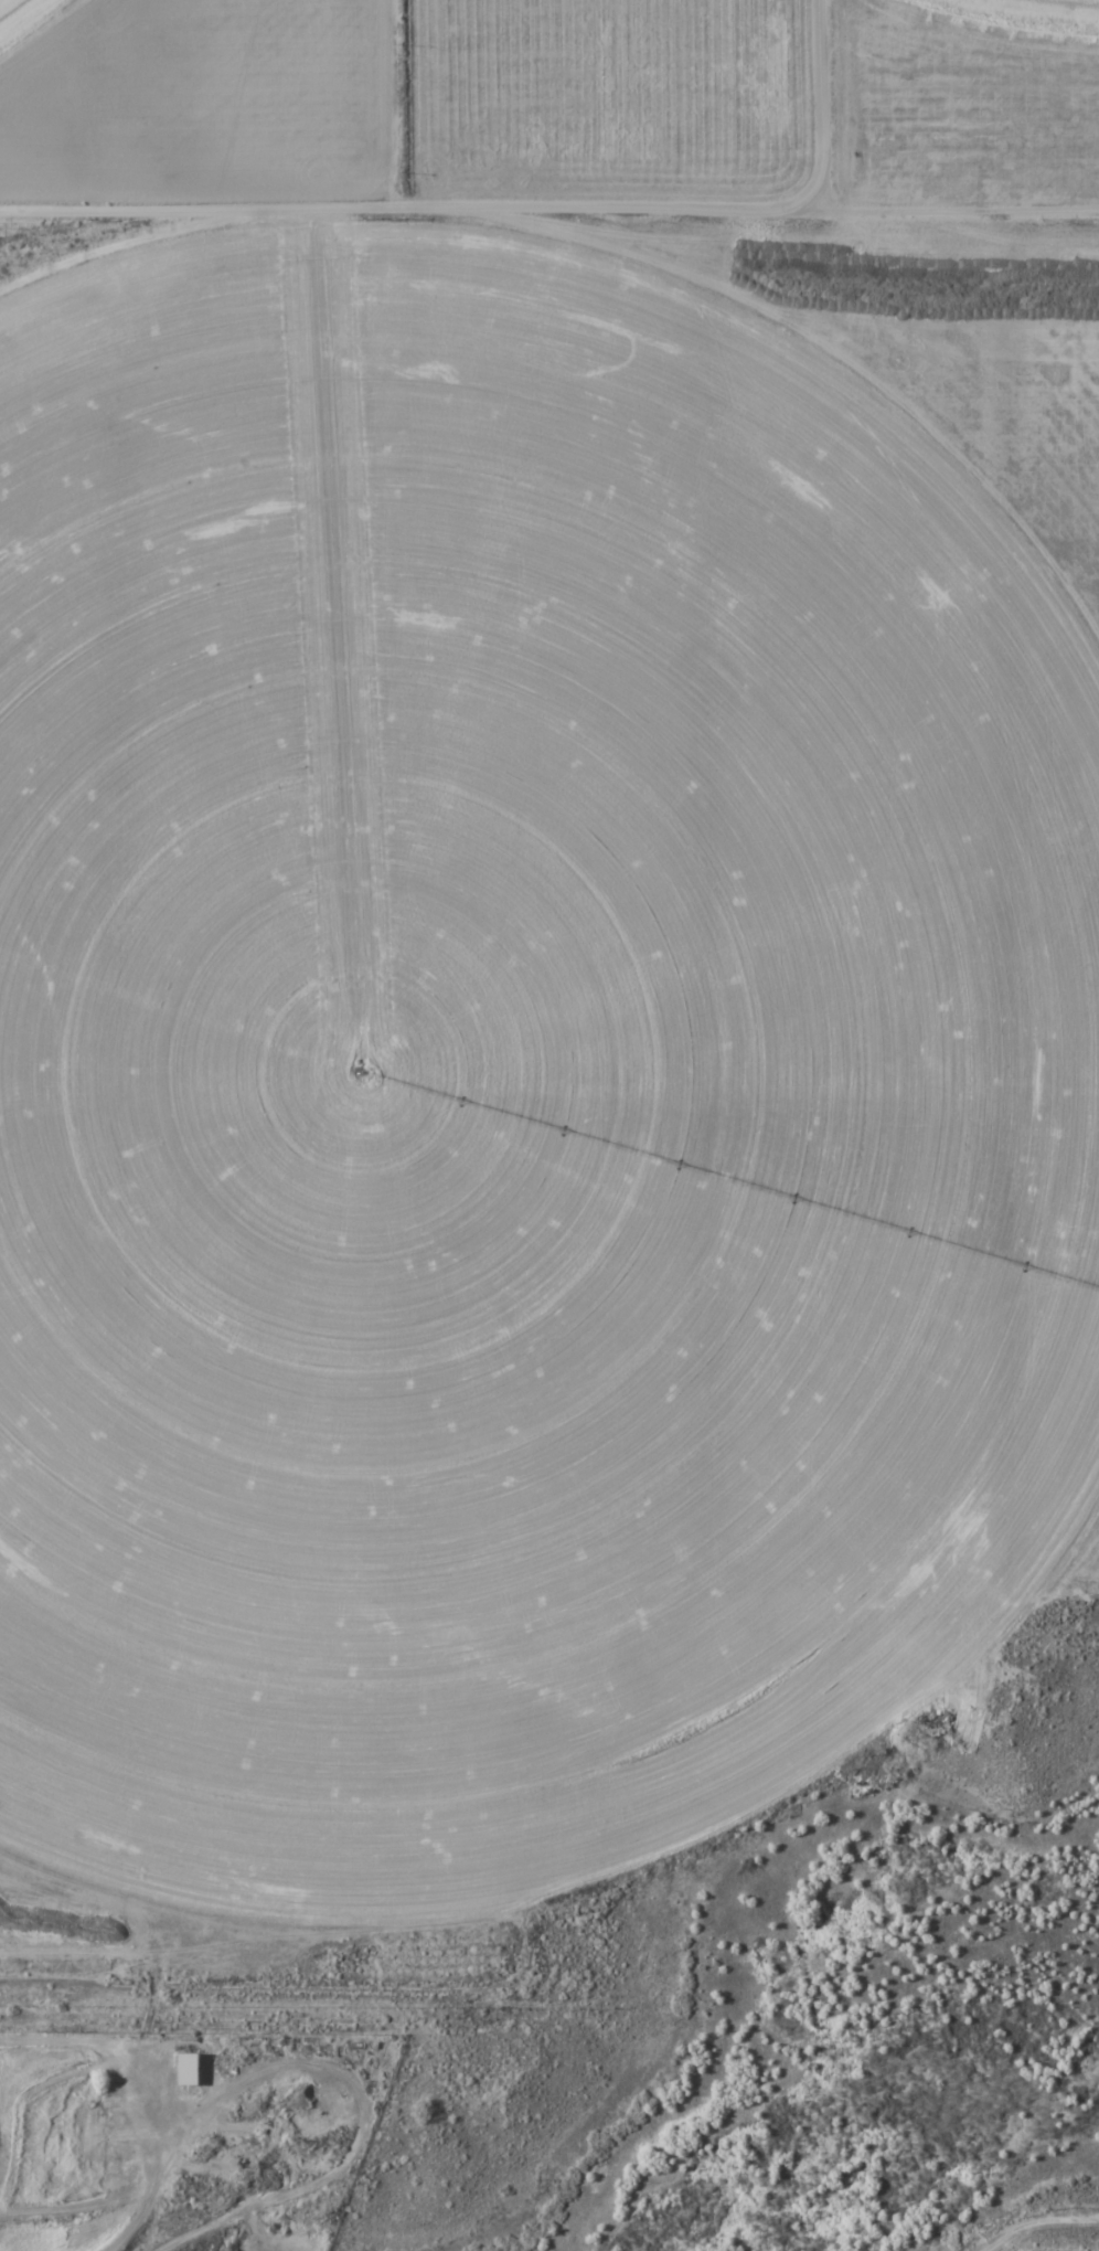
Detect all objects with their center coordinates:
road: (829, 109)
road: (404, 209)
road: (952, 221)
crop: (512, 1075)
building: (188, 2069)

